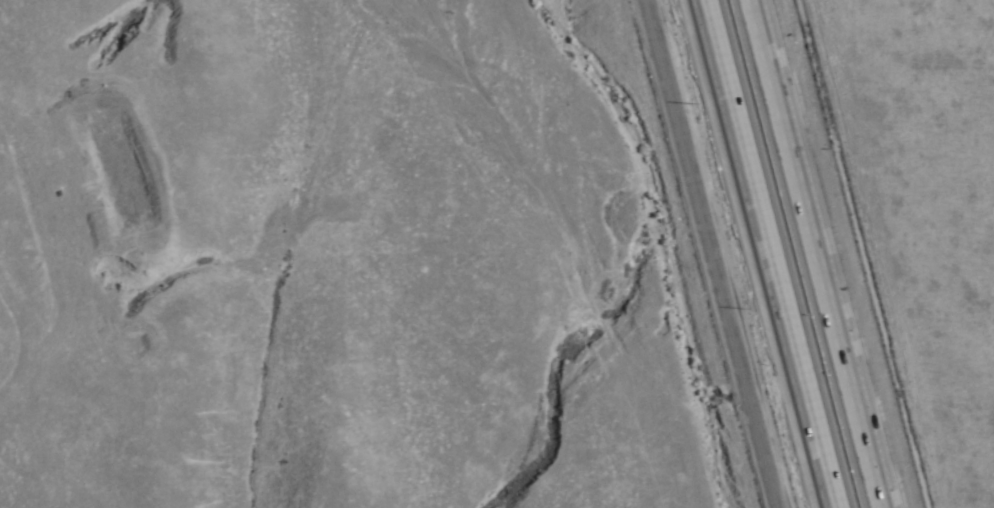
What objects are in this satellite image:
crop: (940, 187)
road: (821, 253)
road: (715, 254)
road: (766, 254)

